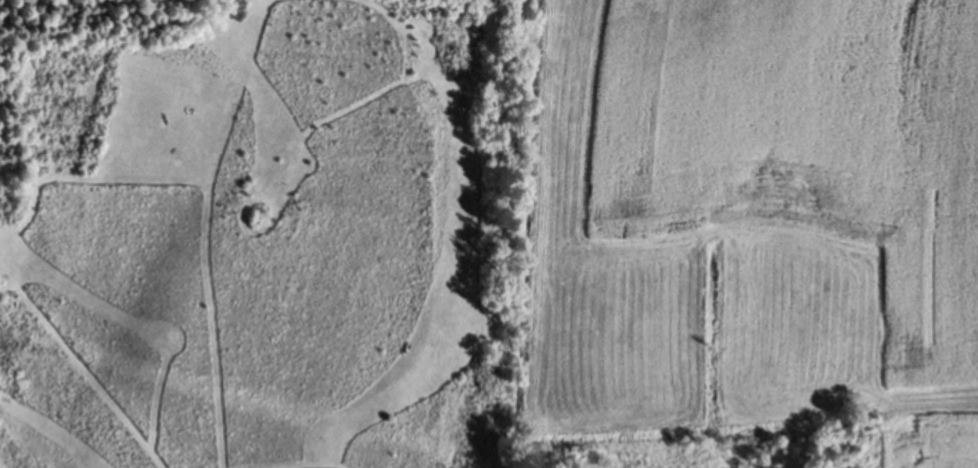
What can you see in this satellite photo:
park: (257, 233)
road: (210, 308)

